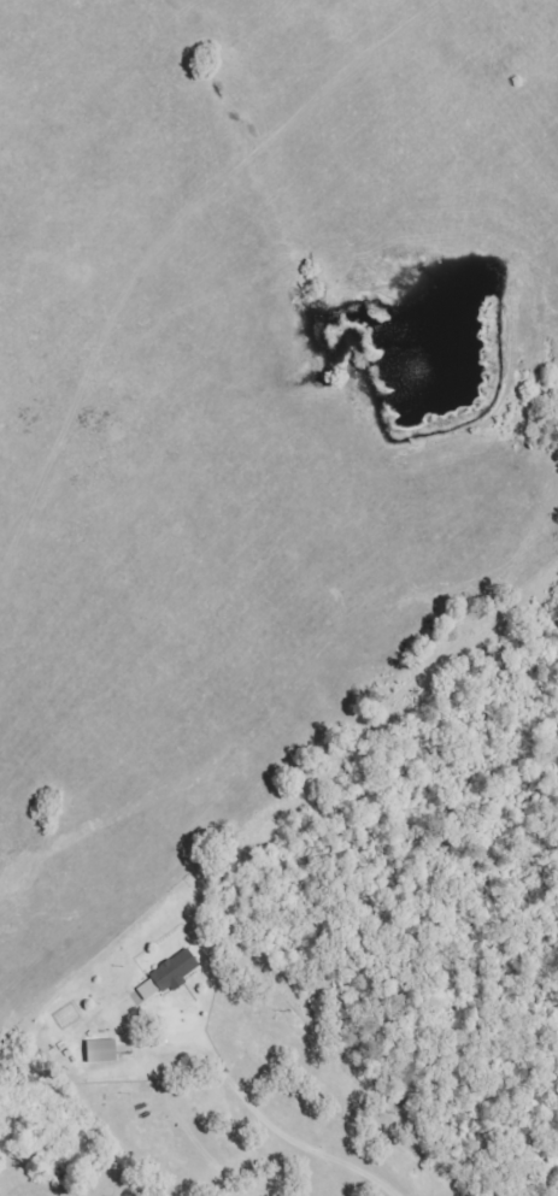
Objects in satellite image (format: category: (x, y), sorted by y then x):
building: (175, 971)
building: (100, 1051)
road: (260, 1112)

